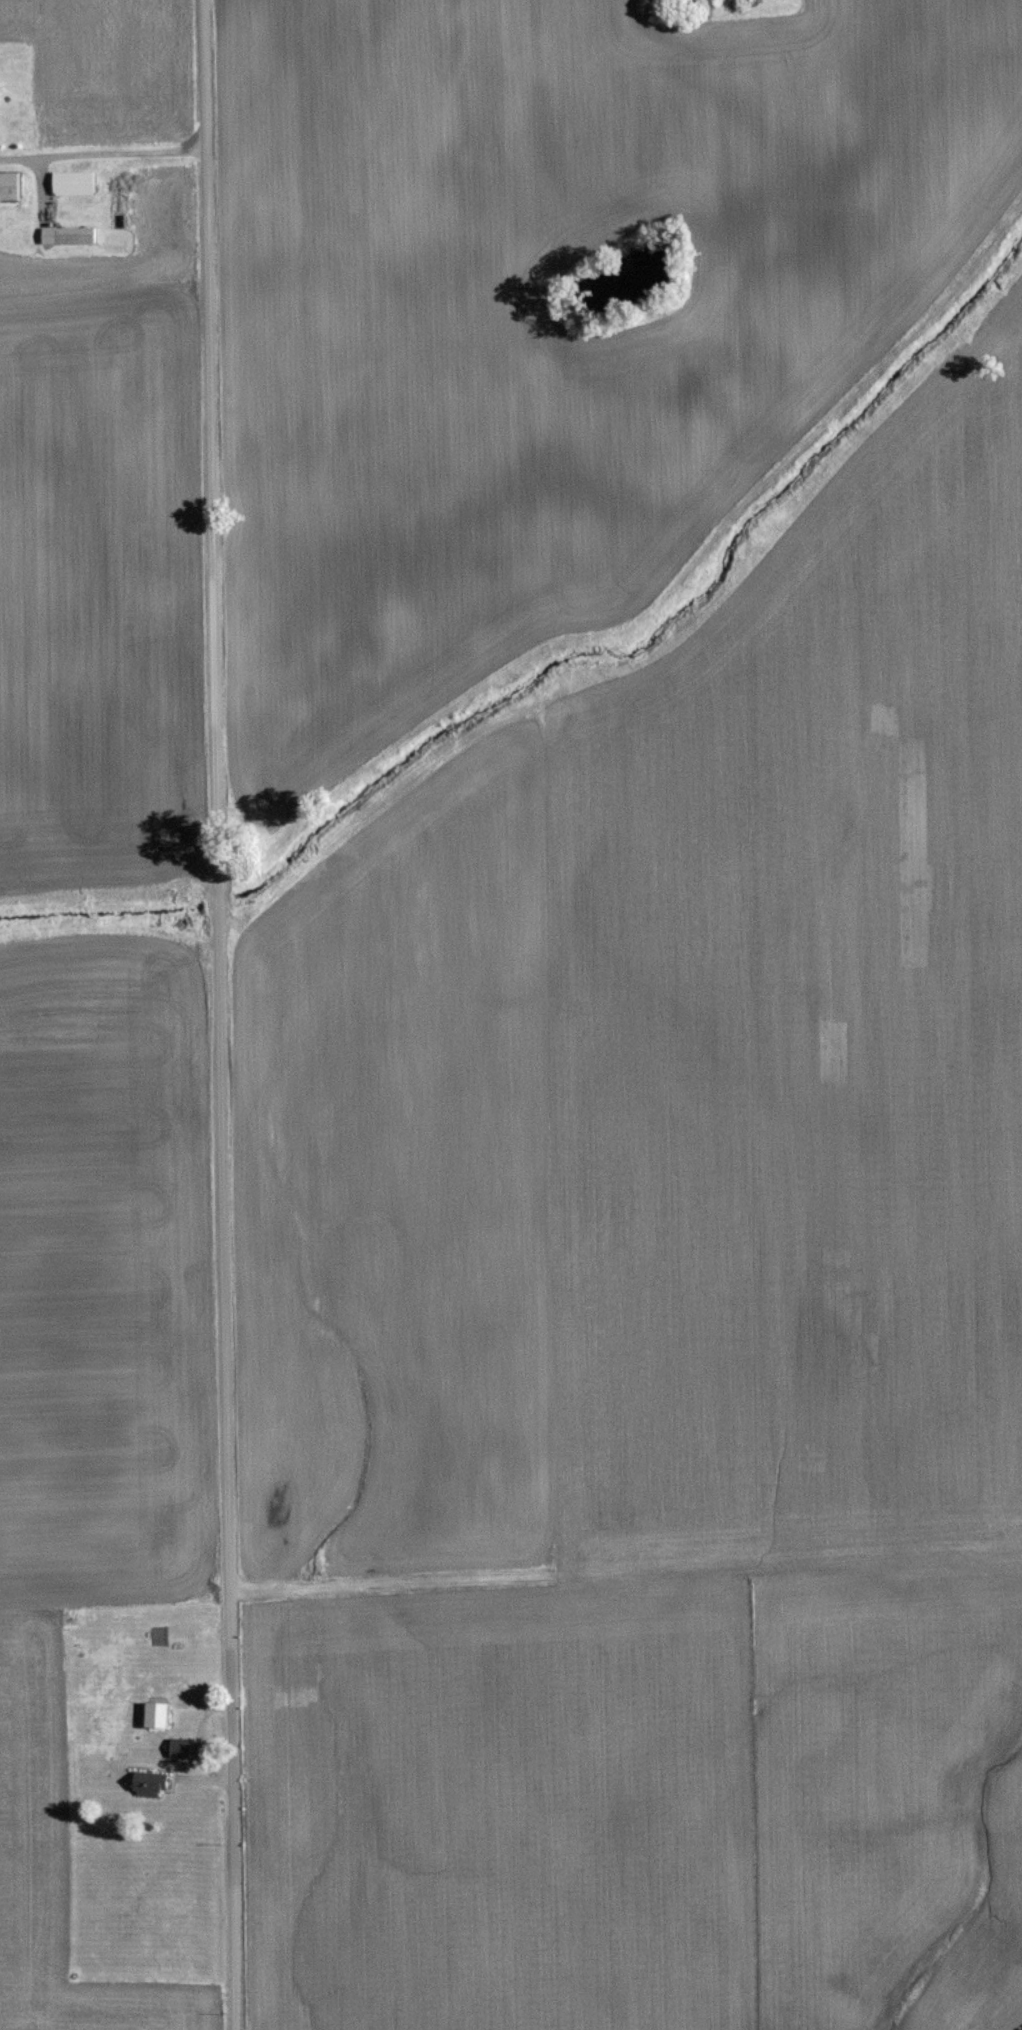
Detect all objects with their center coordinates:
road: (101, 146)
building: (76, 183)
building: (13, 187)
building: (70, 235)
road: (215, 1015)
building: (112, 1656)
building: (95, 1696)
building: (163, 1715)
building: (100, 1725)
building: (185, 1748)
building: (154, 1781)

